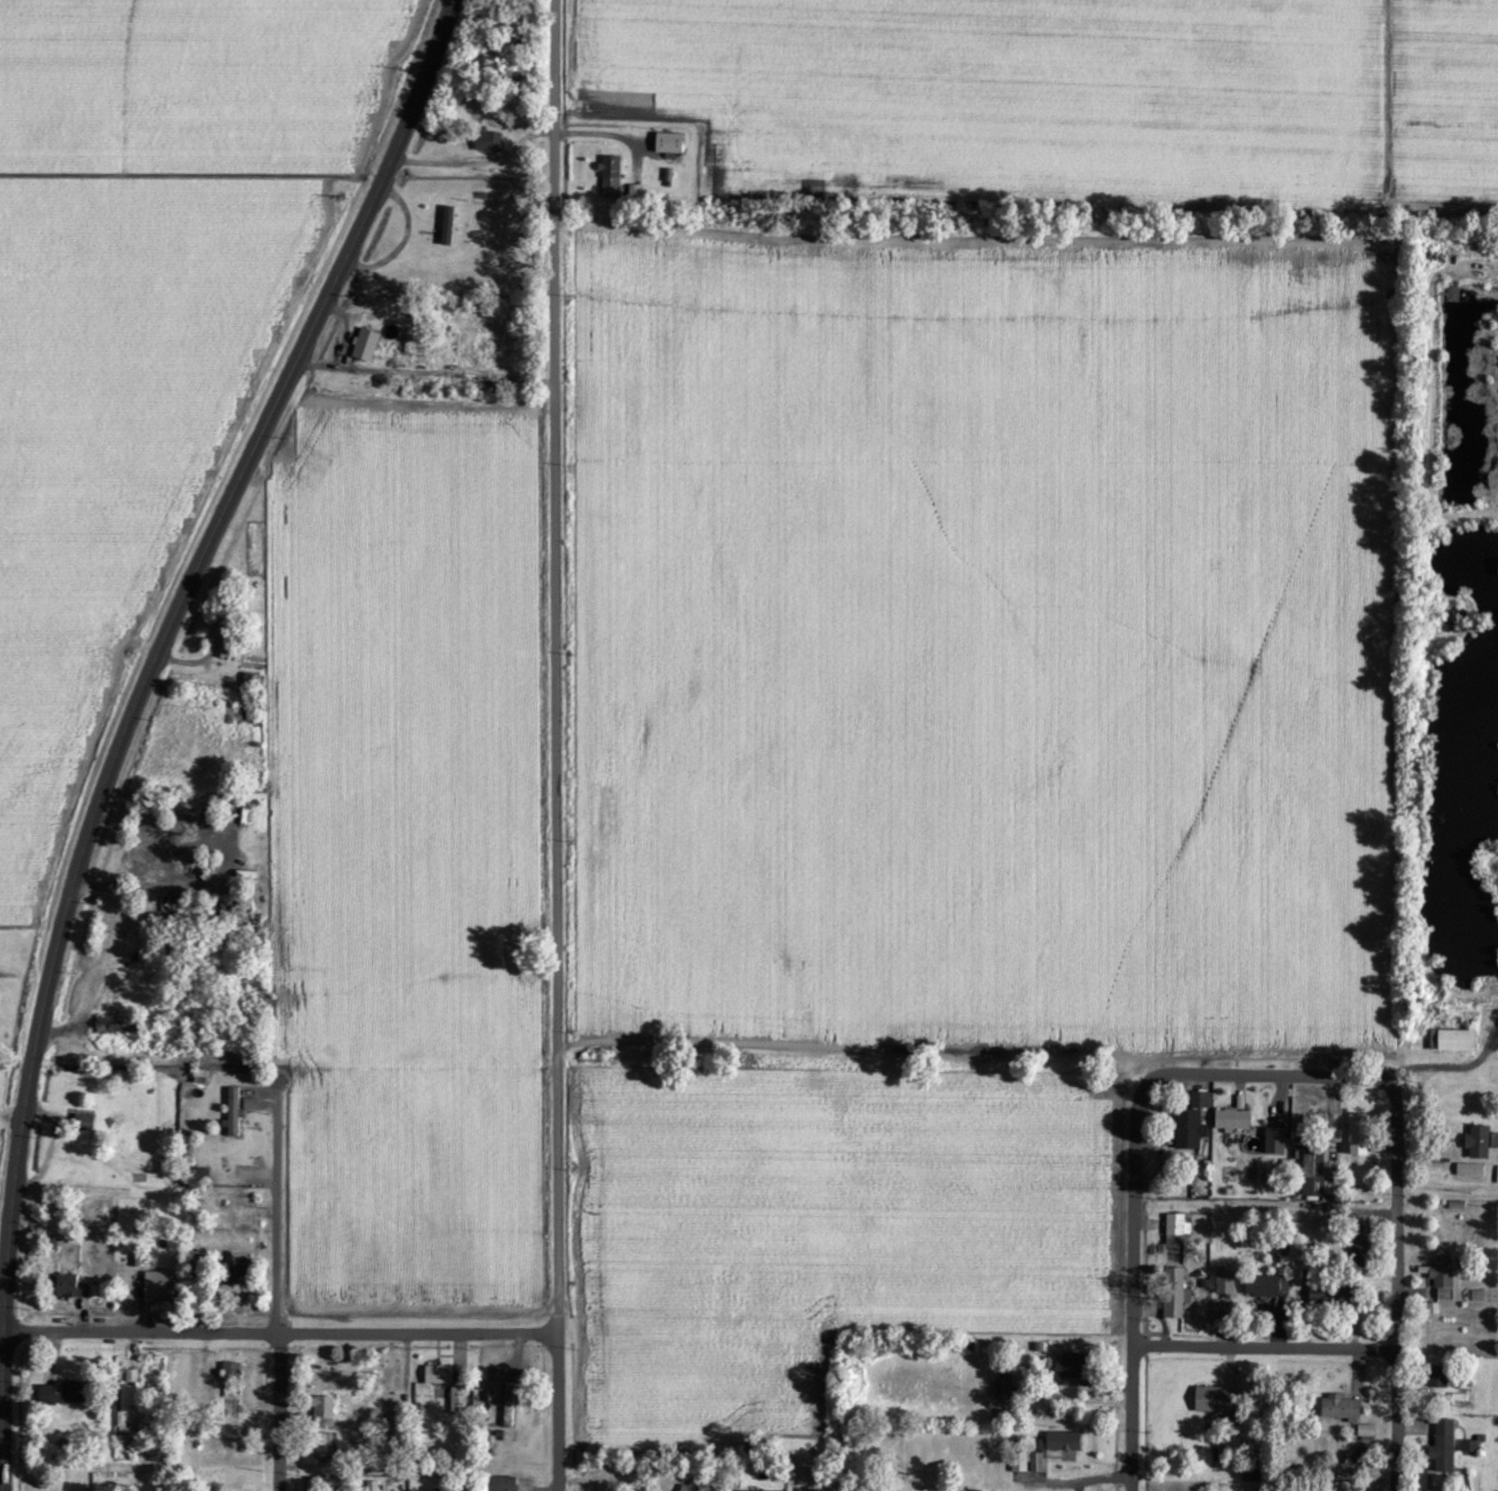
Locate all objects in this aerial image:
building: (488, 141)
building: (669, 145)
building: (610, 177)
building: (447, 226)
building: (365, 345)
road: (425, 373)
road: (197, 566)
crop: (405, 721)
road: (553, 745)
building: (117, 1026)
building: (1452, 1041)
road: (855, 1052)
road: (375, 1068)
road: (1263, 1073)
building: (249, 1105)
building: (232, 1112)
building: (1231, 1120)
building: (84, 1123)
building: (1191, 1123)
building: (1358, 1135)
building: (1274, 1142)
building: (1477, 1142)
building: (1469, 1170)
building: (1315, 1174)
building: (1228, 1175)
crop: (416, 1193)
building: (1175, 1230)
building: (1360, 1247)
building: (1443, 1275)
building: (234, 1276)
building: (1225, 1282)
building: (159, 1287)
building: (1266, 1287)
building: (70, 1288)
road: (1400, 1289)
road: (1133, 1292)
building: (1174, 1294)
building: (1477, 1296)
building: (1329, 1297)
road: (2, 1313)
road: (279, 1322)
road: (5, 1325)
road: (707, 1334)
building: (1070, 1369)
building: (230, 1372)
building: (438, 1376)
building: (1437, 1377)
building: (1002, 1390)
building: (62, 1394)
building: (458, 1401)
building: (1213, 1401)
building: (127, 1405)
building: (508, 1406)
building: (1339, 1409)
building: (322, 1411)
building: (390, 1425)
building: (1365, 1431)
building: (1442, 1447)
building: (1468, 1447)
road: (2, 1449)
building: (1017, 1453)
building: (1351, 1459)
building: (1250, 1472)
road: (1074, 1481)
building: (501, 1484)
road: (613, 1484)
building: (691, 1487)

